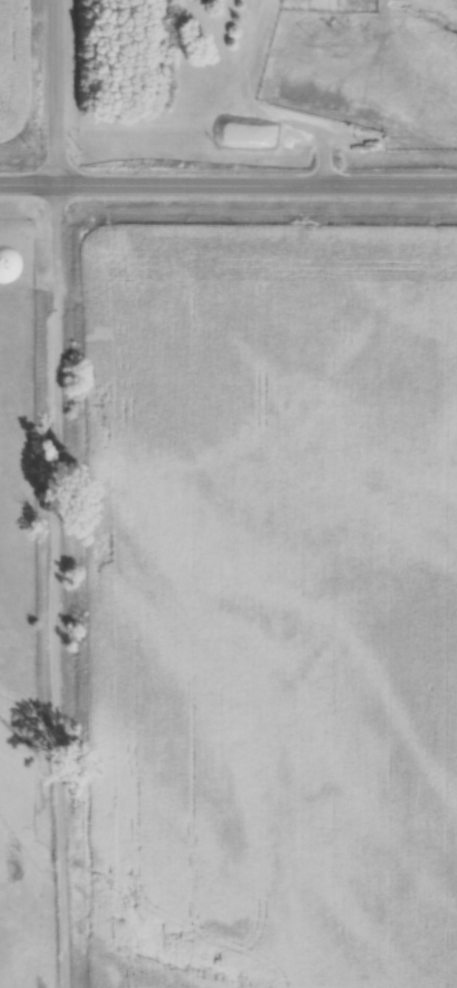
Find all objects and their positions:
road: (56, 90)
road: (253, 109)
road: (228, 180)
road: (58, 584)

